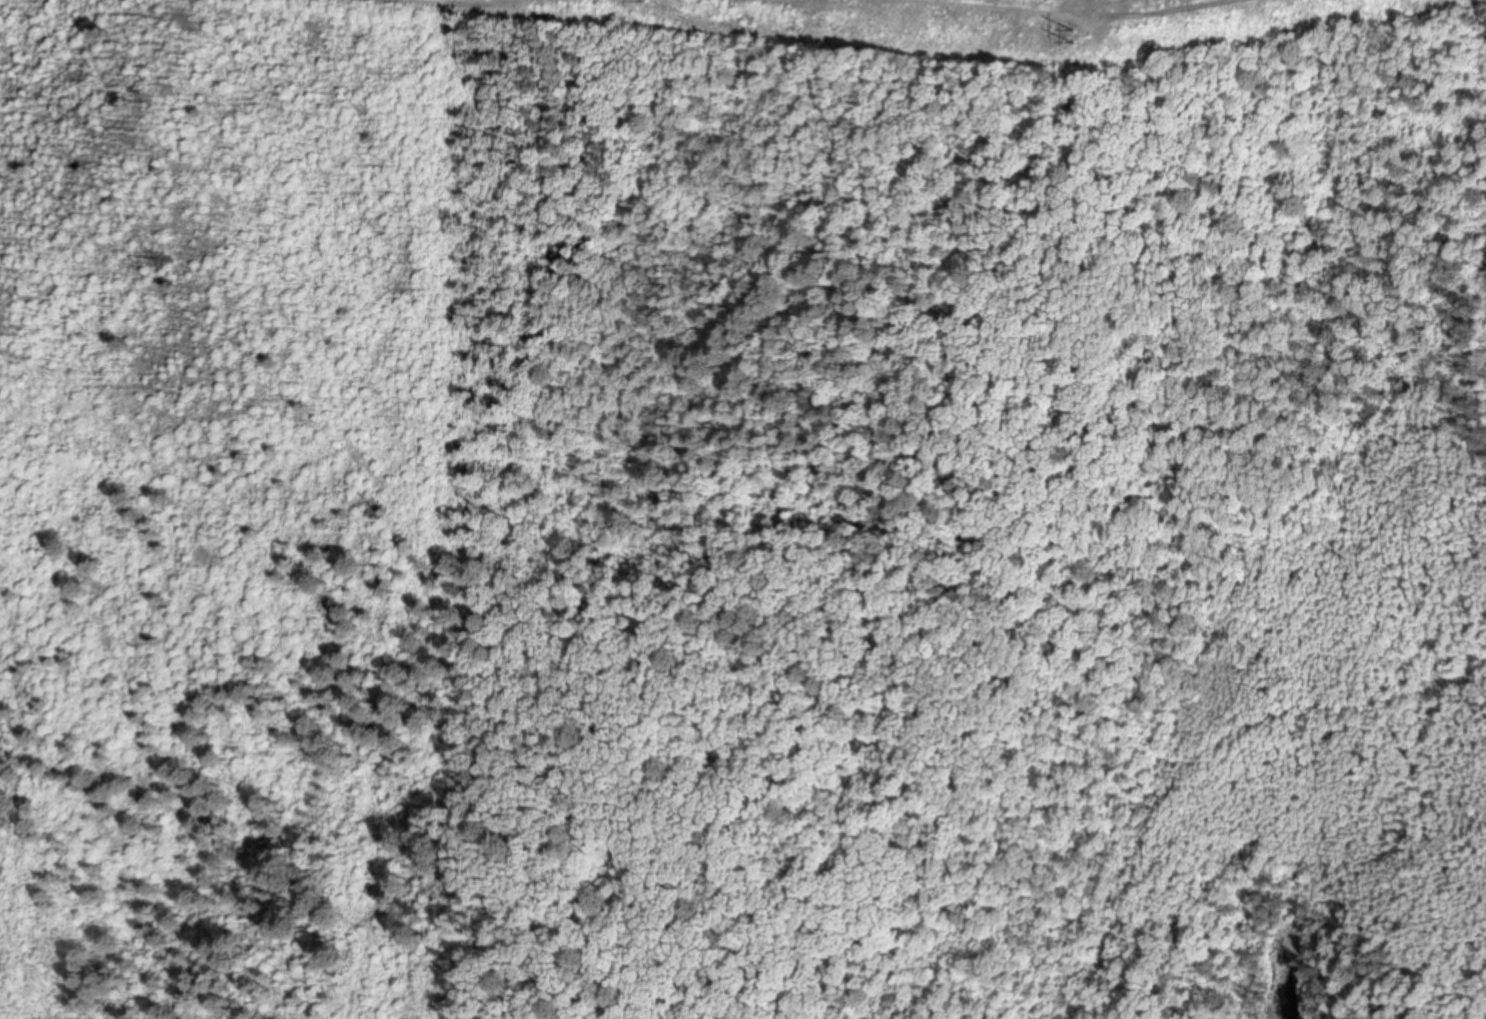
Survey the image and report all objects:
power tower: (1089, 36)

